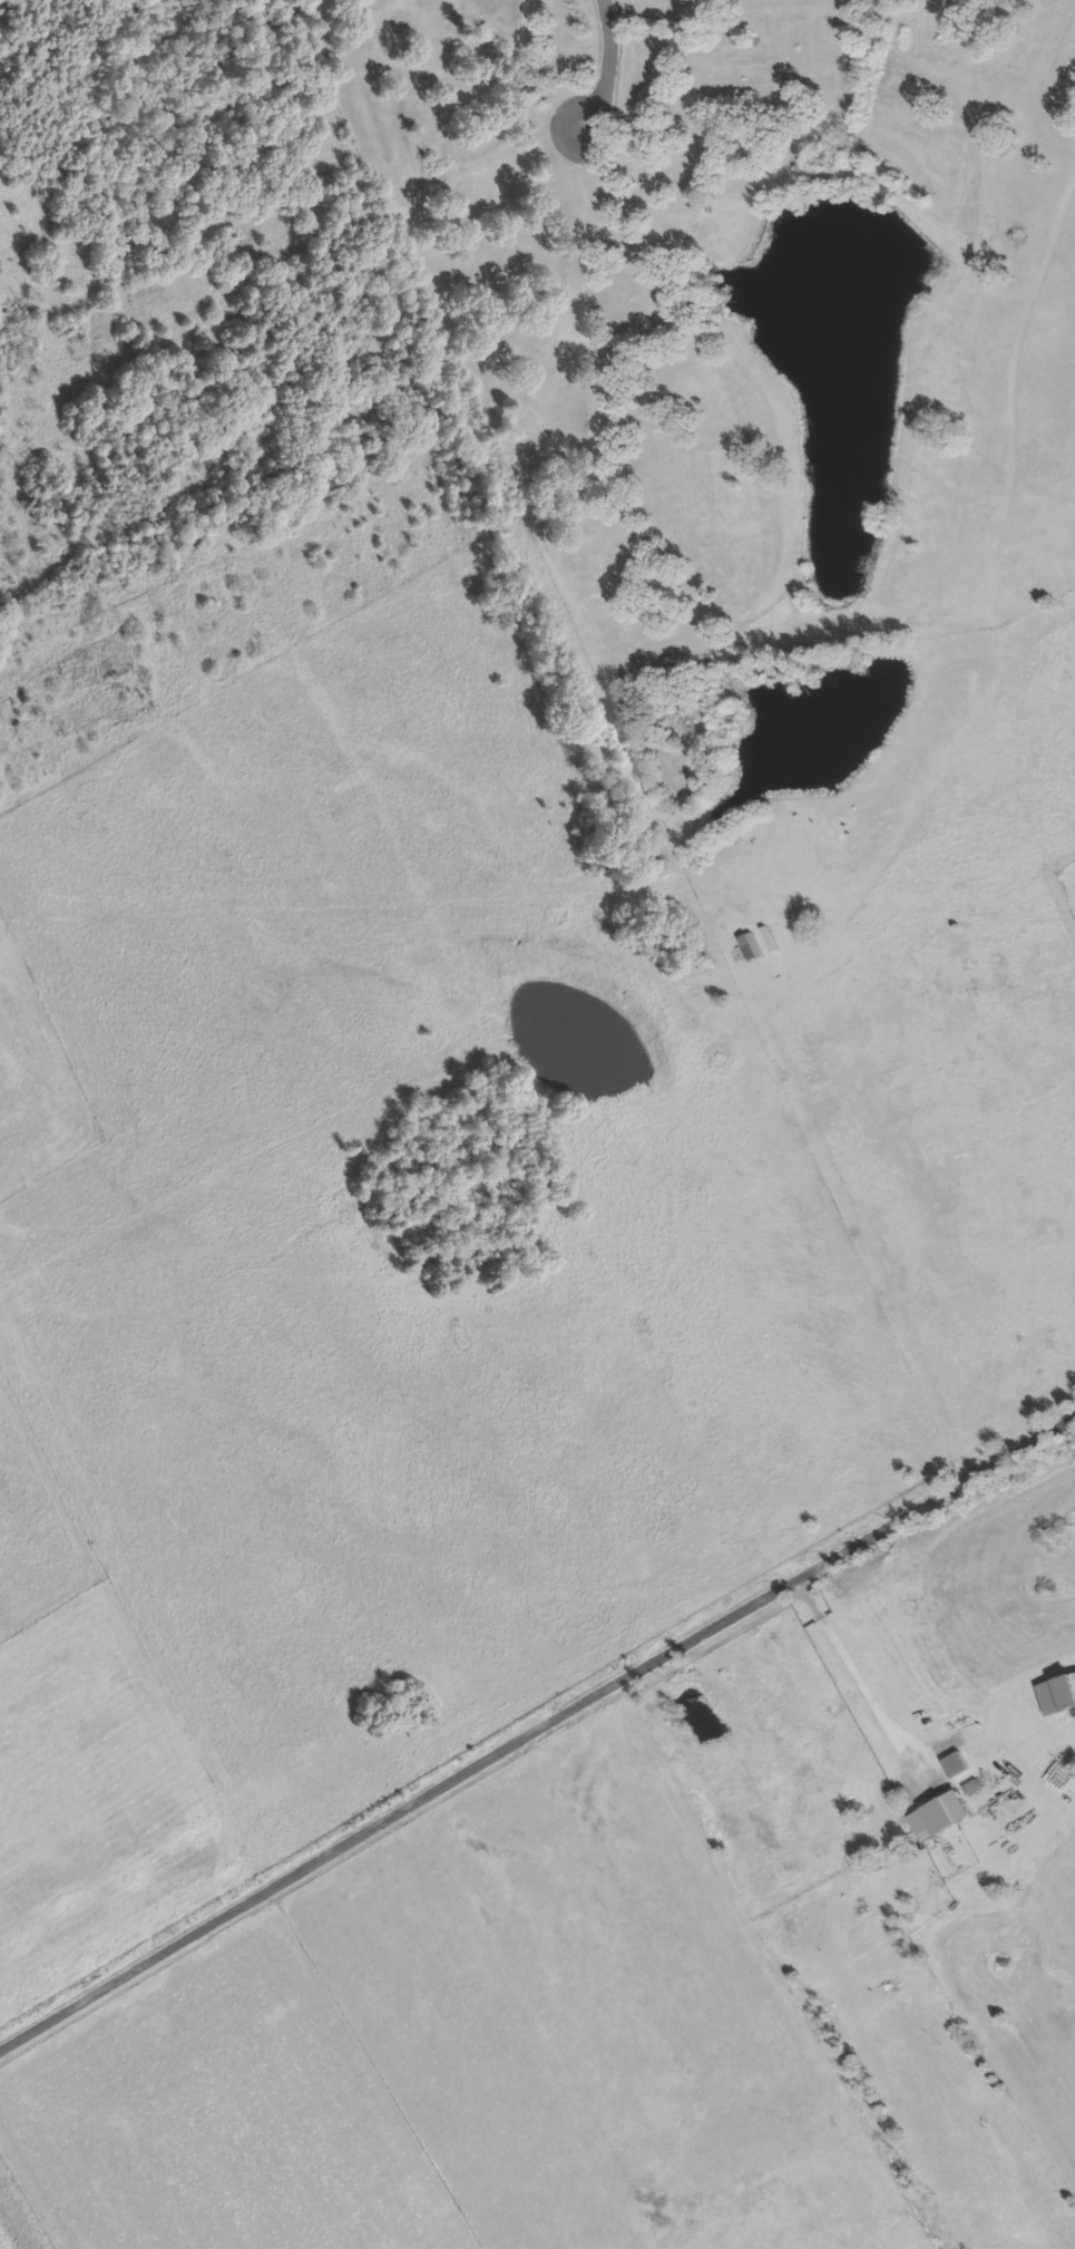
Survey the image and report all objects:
road: (606, 66)
building: (753, 947)
building: (1059, 1695)
road: (905, 1726)
road: (538, 1731)
building: (942, 1817)
building: (783, 2211)

